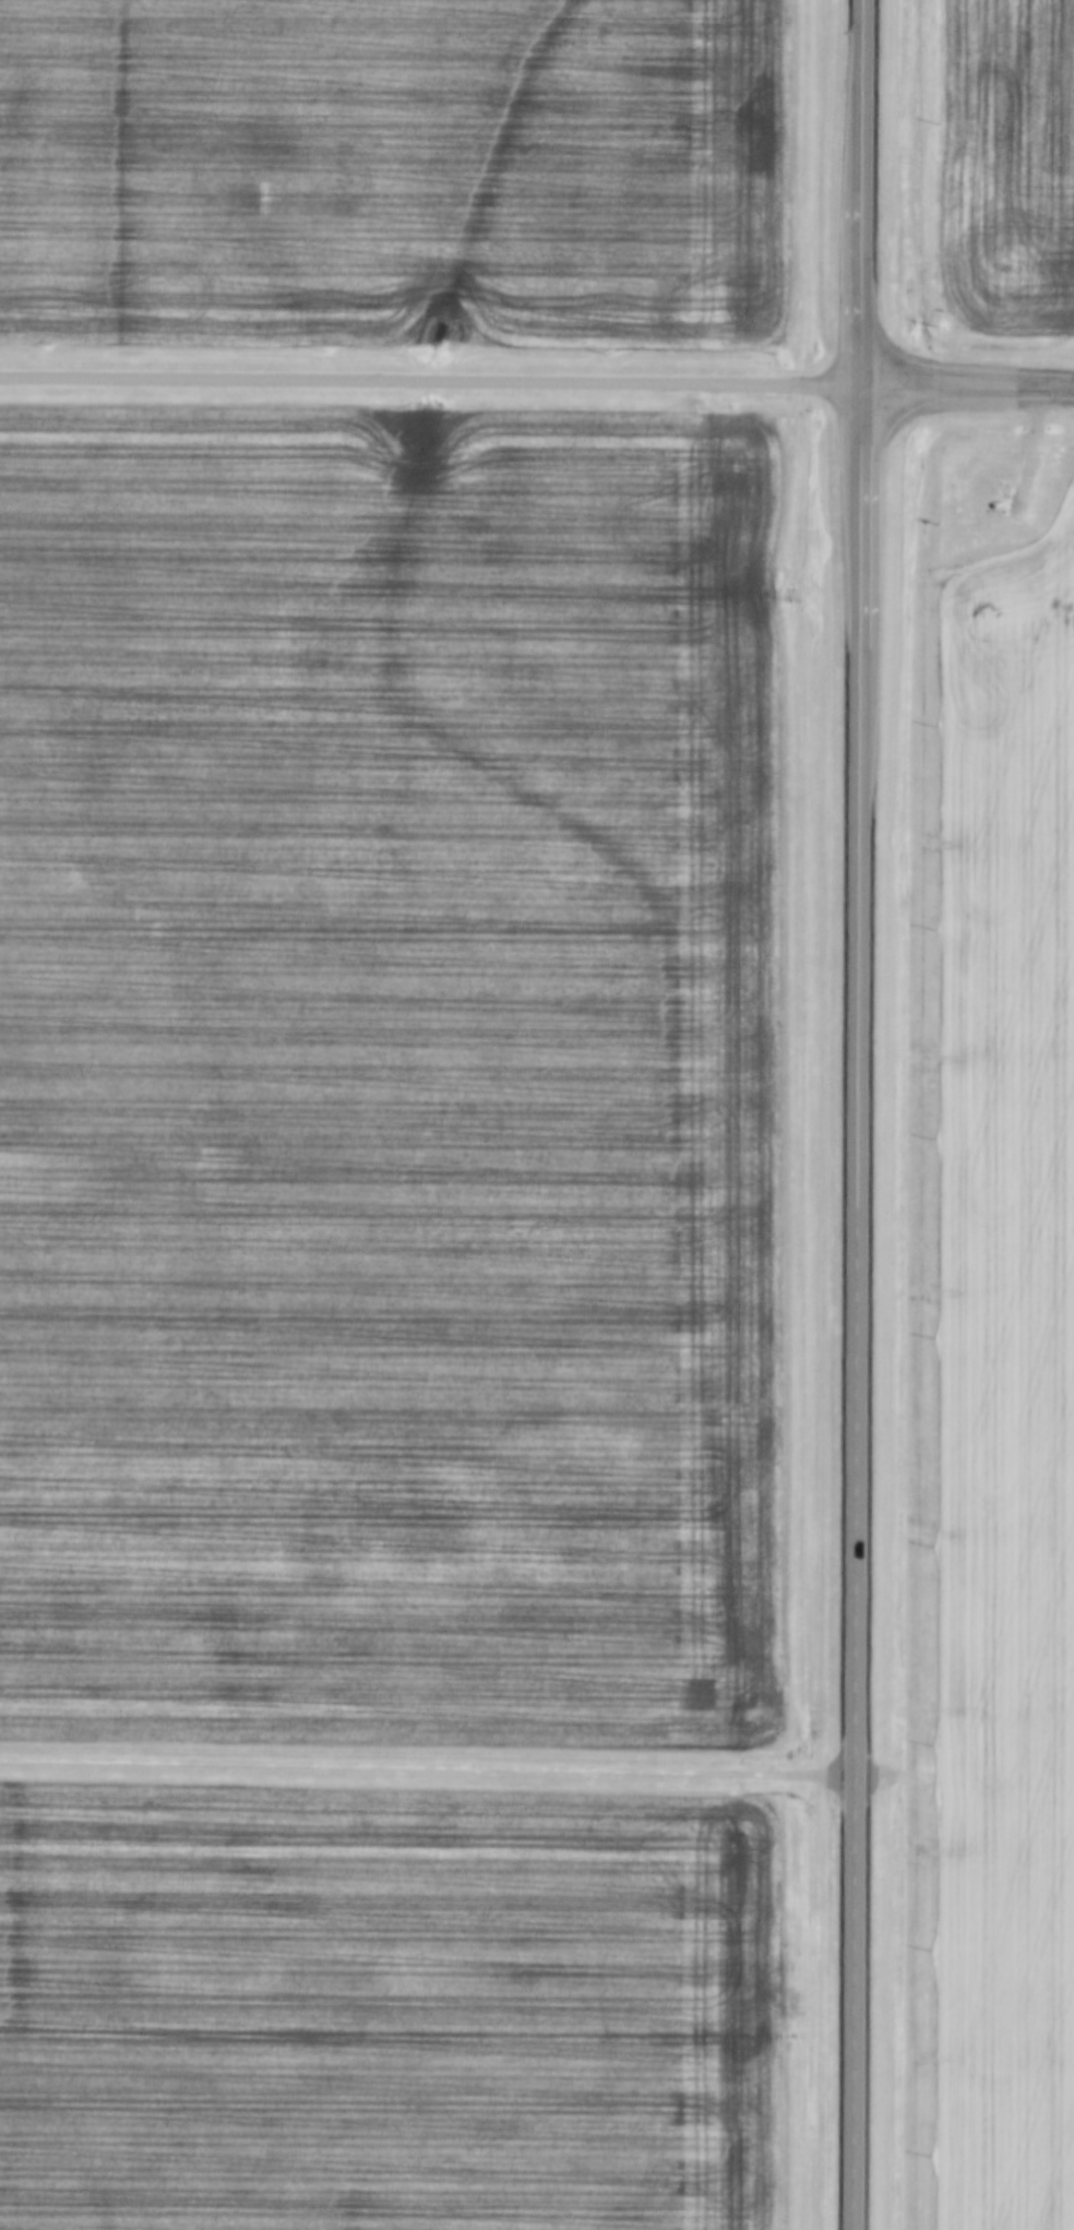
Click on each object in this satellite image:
road: (860, 193)
road: (430, 383)
road: (967, 387)
road: (857, 1309)
road: (428, 1768)

